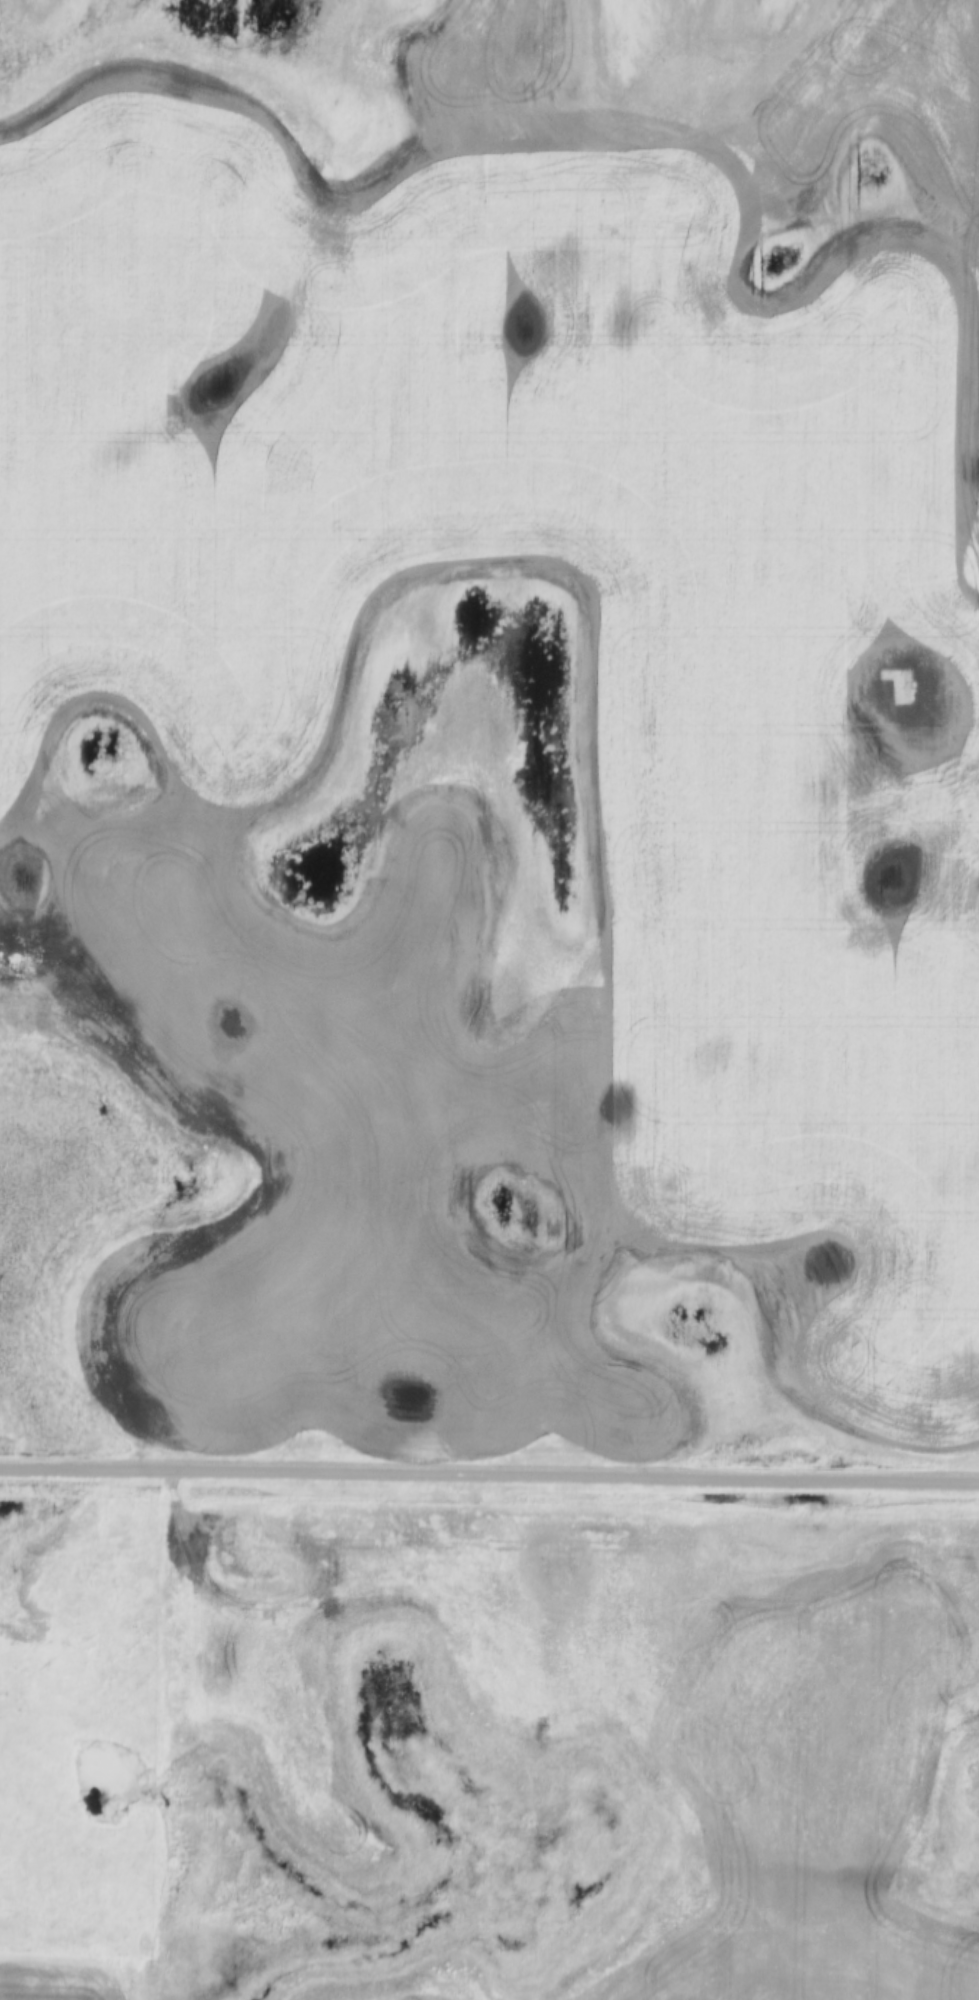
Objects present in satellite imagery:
road: (489, 1474)

